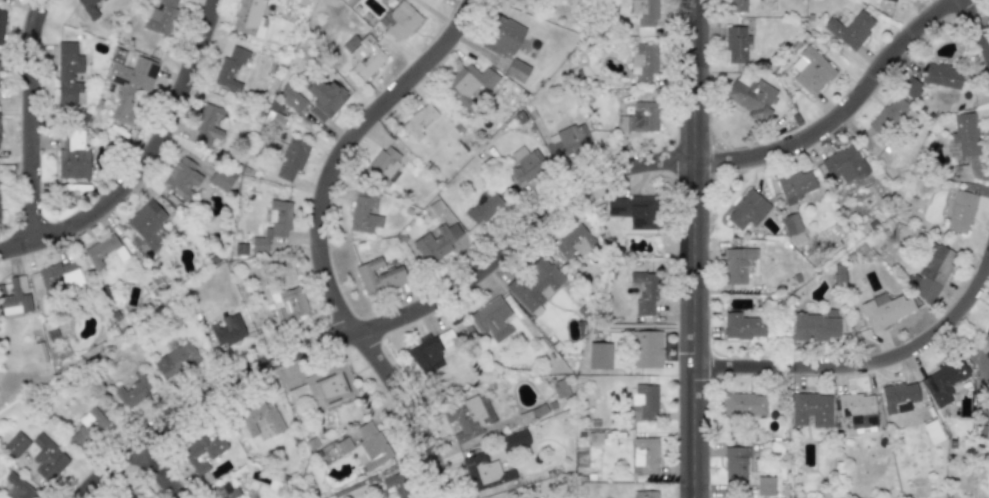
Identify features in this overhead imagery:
building: (892, 0)
road: (966, 3)
road: (975, 3)
building: (735, 5)
building: (88, 8)
building: (644, 15)
building: (160, 16)
building: (249, 18)
building: (401, 21)
building: (1, 25)
building: (850, 29)
road: (978, 31)
building: (502, 36)
building: (736, 45)
building: (363, 55)
building: (643, 61)
building: (230, 68)
building: (517, 70)
building: (68, 71)
building: (810, 71)
building: (942, 75)
building: (469, 81)
building: (128, 84)
building: (910, 87)
building: (750, 95)
building: (291, 97)
building: (324, 98)
building: (274, 115)
building: (640, 117)
building: (889, 117)
building: (419, 120)
road: (31, 124)
building: (207, 126)
building: (964, 133)
building: (567, 141)
building: (72, 155)
building: (292, 158)
building: (384, 164)
building: (843, 164)
building: (524, 165)
road: (150, 166)
building: (182, 178)
building: (221, 179)
building: (795, 186)
building: (483, 207)
building: (962, 208)
building: (747, 210)
building: (634, 212)
building: (363, 215)
building: (147, 224)
building: (273, 225)
building: (793, 228)
road: (530, 235)
road: (314, 240)
building: (574, 241)
building: (436, 242)
road: (694, 249)
building: (739, 264)
building: (932, 273)
building: (378, 276)
building: (59, 277)
building: (534, 283)
building: (645, 292)
building: (15, 296)
building: (288, 303)
building: (885, 309)
building: (492, 319)
building: (742, 326)
building: (815, 327)
building: (227, 330)
building: (985, 340)
building: (646, 349)
road: (968, 350)
building: (430, 351)
building: (40, 352)
building: (599, 355)
building: (176, 360)
road: (866, 362)
building: (943, 381)
building: (321, 389)
building: (133, 391)
building: (899, 396)
building: (644, 401)
building: (744, 404)
building: (811, 409)
building: (857, 409)
building: (985, 415)
building: (259, 417)
building: (465, 417)
building: (87, 427)
building: (932, 431)
building: (981, 431)
building: (514, 440)
building: (16, 444)
building: (366, 446)
building: (190, 452)
building: (644, 456)
building: (47, 457)
building: (735, 463)
building: (484, 471)
road: (160, 475)
building: (397, 484)
building: (765, 485)
building: (18, 487)
building: (228, 489)
building: (644, 494)
building: (128, 495)

